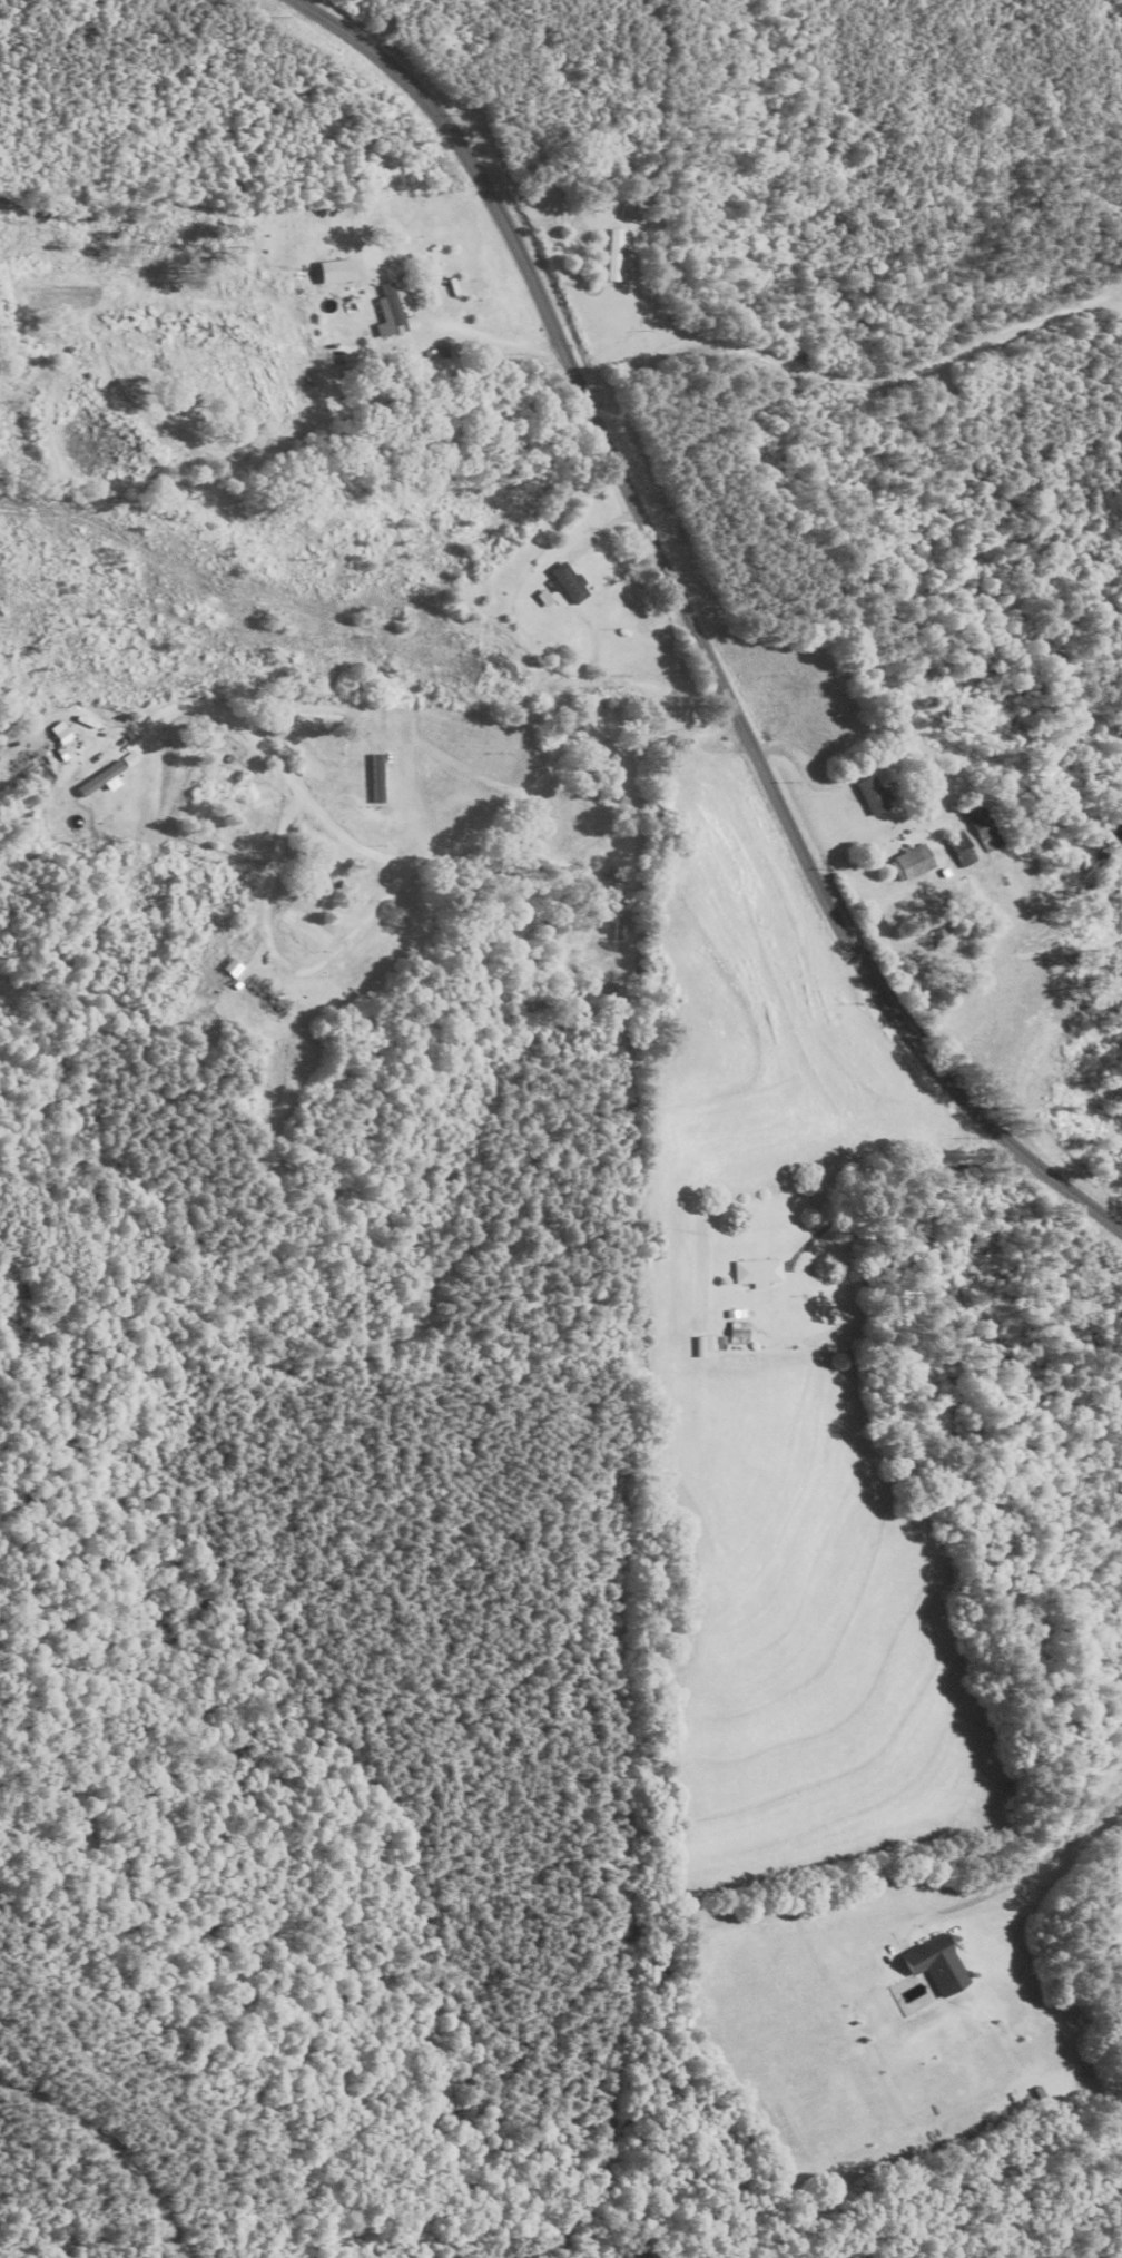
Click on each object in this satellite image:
building: (633, 213)
building: (616, 255)
building: (392, 312)
road: (499, 334)
building: (570, 583)
road: (690, 627)
building: (877, 796)
building: (980, 817)
road: (419, 857)
building: (914, 863)
building: (758, 1273)
building: (740, 1333)
building: (707, 1345)
road: (1025, 1874)
building: (938, 1965)
road: (98, 2178)

